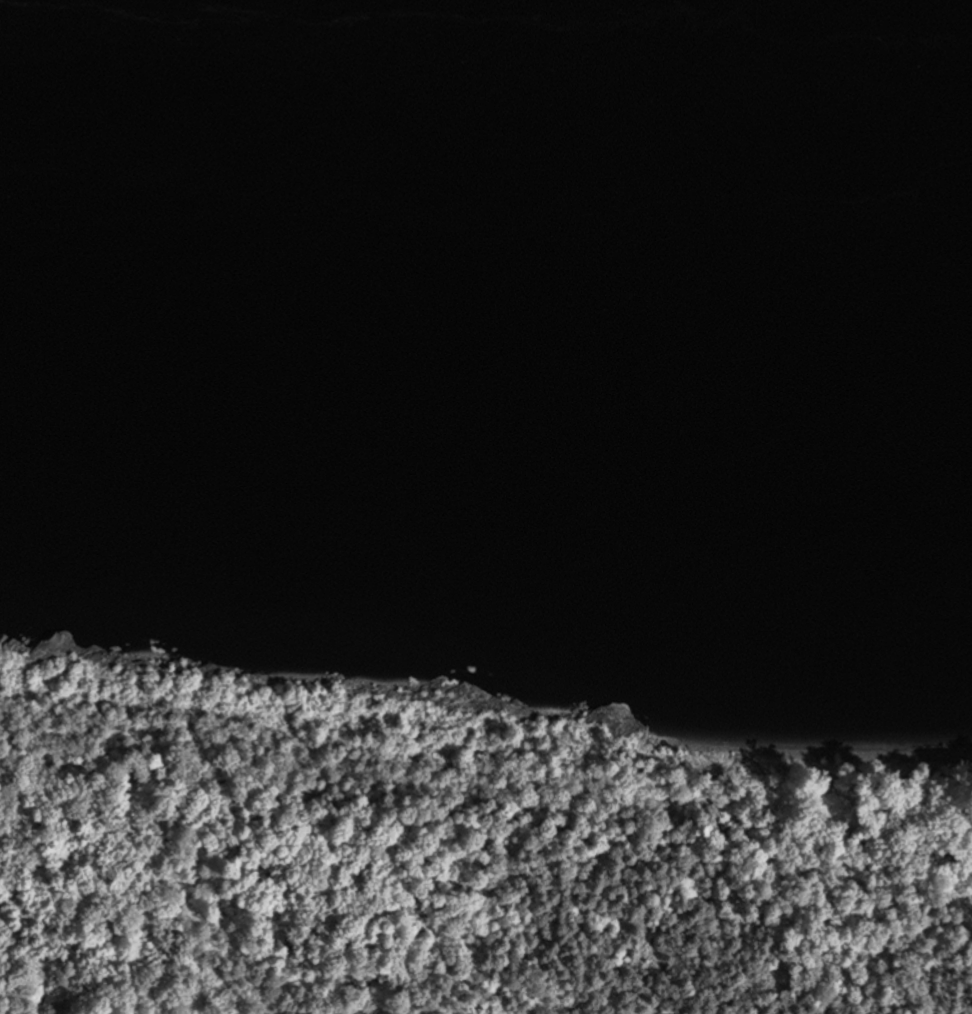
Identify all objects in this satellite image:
river: (338, 38)

